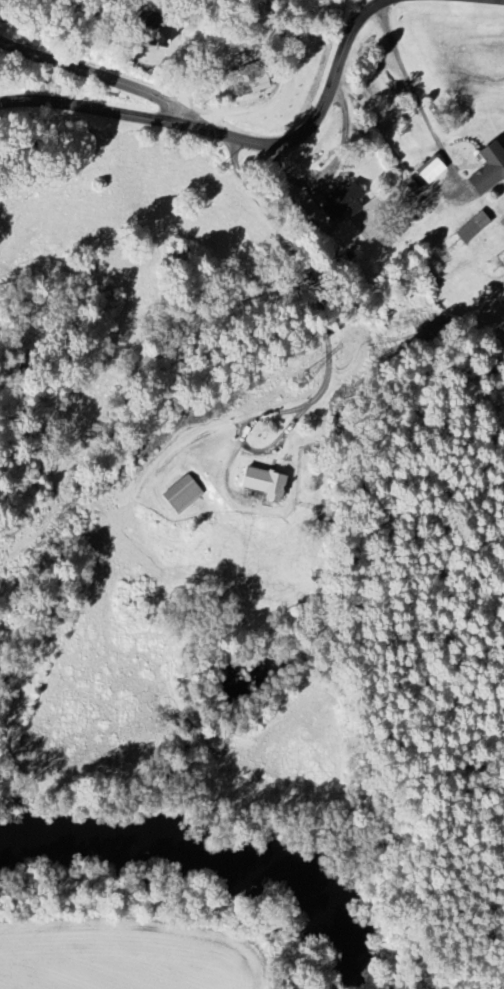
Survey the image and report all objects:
road: (100, 82)
building: (257, 84)
road: (414, 92)
road: (229, 134)
road: (333, 162)
building: (486, 169)
building: (429, 170)
building: (339, 204)
building: (470, 228)
power tower: (492, 265)
road: (317, 298)
power tower: (301, 381)
building: (260, 485)
building: (179, 496)
river: (216, 847)

